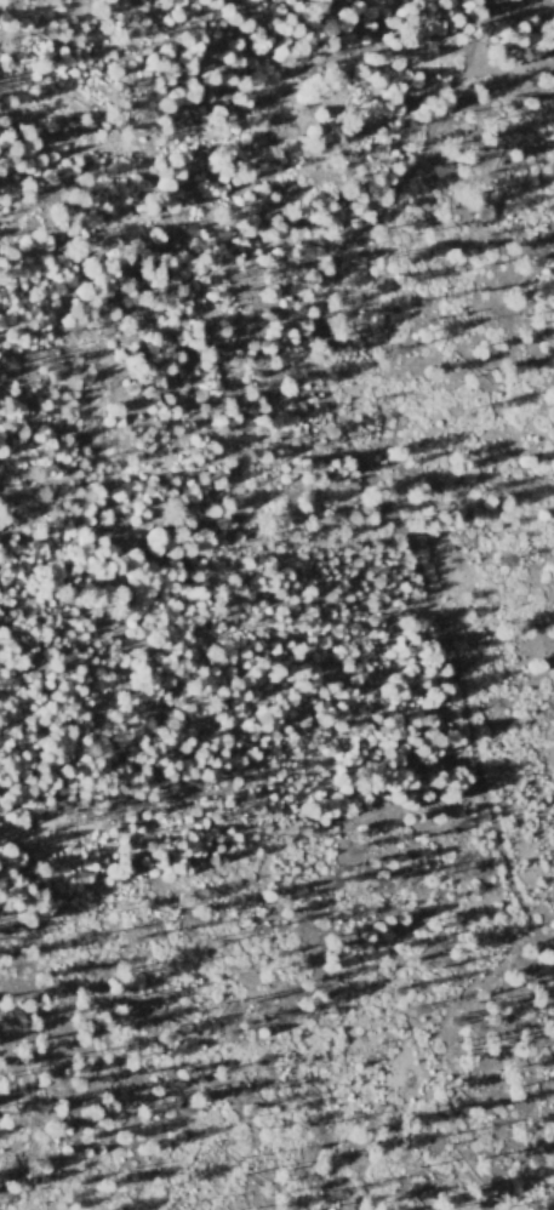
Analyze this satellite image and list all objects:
road: (305, 521)

